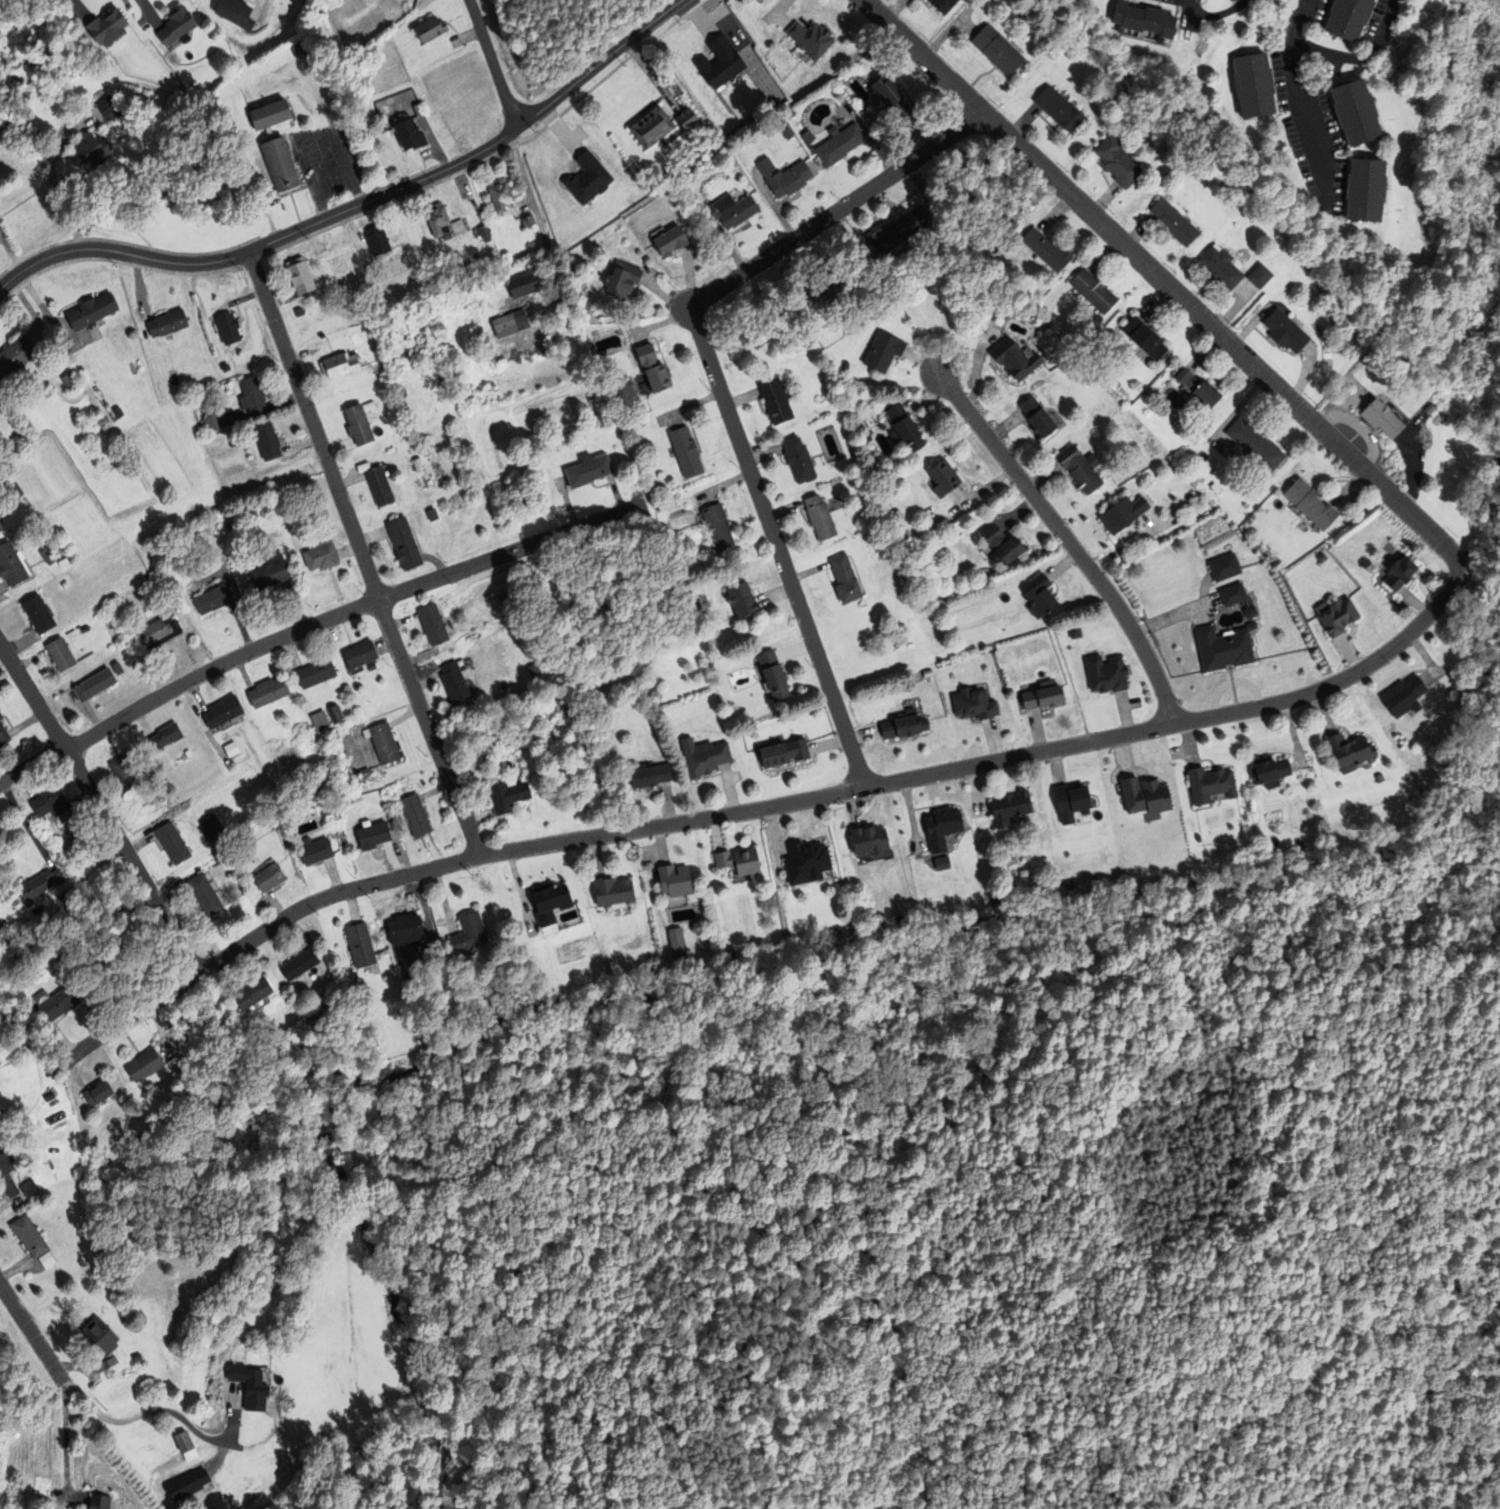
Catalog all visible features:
building: (943, 5)
building: (234, 12)
building: (1347, 18)
building: (1143, 20)
building: (106, 26)
building: (176, 26)
building: (429, 28)
building: (810, 40)
building: (997, 51)
road: (1358, 59)
road: (599, 62)
road: (494, 63)
building: (719, 64)
building: (1252, 85)
road: (1293, 91)
building: (890, 98)
building: (110, 110)
building: (416, 110)
building: (1059, 110)
building: (1354, 112)
building: (267, 114)
building: (686, 119)
building: (651, 128)
building: (409, 134)
building: (807, 138)
building: (839, 145)
building: (91, 148)
building: (1117, 161)
building: (277, 164)
parking lot: (325, 164)
building: (784, 178)
building: (587, 179)
building: (1363, 188)
road: (388, 195)
building: (500, 196)
road: (534, 207)
road: (836, 209)
building: (731, 211)
building: (437, 221)
building: (1174, 223)
building: (458, 227)
building: (482, 232)
building: (896, 232)
building: (377, 240)
building: (669, 242)
building: (1047, 251)
road: (120, 253)
building: (1220, 268)
building: (368, 271)
building: (831, 276)
building: (299, 277)
building: (1260, 277)
building: (622, 281)
road: (1159, 281)
building: (525, 284)
building: (1093, 292)
building: (90, 311)
building: (298, 313)
building: (166, 323)
building: (510, 325)
building: (227, 328)
building: (1285, 332)
building: (321, 337)
building: (1146, 339)
building: (883, 353)
building: (14, 356)
building: (1014, 360)
building: (338, 366)
building: (225, 368)
building: (652, 370)
building: (69, 381)
building: (1197, 389)
building: (98, 392)
building: (401, 393)
building: (251, 395)
building: (199, 398)
building: (775, 402)
building: (1430, 410)
building: (117, 412)
building: (1037, 418)
building: (1382, 420)
building: (211, 423)
building: (358, 423)
road: (1360, 428)
building: (903, 429)
building: (266, 440)
building: (231, 442)
building: (1255, 445)
building: (425, 452)
building: (686, 453)
building: (798, 461)
building: (418, 466)
building: (1080, 469)
building: (588, 472)
road: (1414, 472)
building: (943, 479)
building: (14, 486)
building: (379, 487)
building: (1311, 505)
building: (431, 515)
building: (1123, 515)
building: (819, 518)
building: (230, 525)
building: (0, 529)
building: (717, 529)
road: (1491, 536)
road: (1068, 542)
building: (403, 545)
building: (1001, 546)
building: (158, 548)
road: (777, 548)
road: (1470, 551)
building: (320, 552)
road: (360, 555)
building: (46, 556)
building: (62, 563)
building: (12, 565)
building: (166, 565)
building: (1224, 568)
building: (269, 570)
building: (1400, 575)
building: (844, 580)
building: (64, 585)
building: (1233, 596)
building: (213, 597)
building: (1040, 598)
building: (742, 601)
building: (1251, 614)
building: (37, 615)
building: (1340, 617)
road: (310, 625)
building: (432, 626)
building: (84, 629)
building: (158, 631)
building: (1075, 633)
building: (1225, 649)
building: (359, 652)
building: (59, 654)
building: (116, 667)
building: (315, 672)
building: (1106, 675)
building: (773, 677)
building: (93, 683)
building: (453, 683)
building: (267, 690)
building: (1043, 697)
building: (1404, 698)
building: (974, 705)
building: (221, 710)
building: (334, 713)
building: (0, 718)
building: (320, 718)
building: (904, 728)
building: (164, 736)
building: (3, 737)
building: (382, 741)
building: (230, 748)
building: (187, 753)
building: (1350, 753)
building: (783, 754)
building: (704, 758)
building: (123, 772)
building: (364, 772)
building: (1270, 772)
building: (649, 777)
building: (1379, 780)
building: (316, 782)
building: (1210, 786)
road: (847, 791)
building: (506, 797)
building: (1145, 797)
building: (50, 802)
building: (1070, 804)
road: (102, 805)
building: (1010, 809)
building: (415, 818)
building: (216, 827)
building: (942, 829)
building: (373, 837)
building: (171, 842)
building: (868, 842)
building: (313, 849)
building: (738, 862)
building: (75, 863)
building: (806, 864)
building: (942, 865)
building: (268, 876)
building: (674, 882)
building: (37, 885)
building: (67, 892)
building: (612, 893)
building: (203, 894)
building: (549, 906)
building: (405, 932)
building: (467, 935)
building: (675, 945)
building: (359, 947)
building: (299, 966)
building: (252, 995)
building: (55, 1005)
building: (310, 1010)
road: (130, 1019)
building: (410, 1025)
building: (144, 1067)
building: (96, 1096)
building: (10, 1170)
building: (33, 1187)
building: (33, 1235)
building: (50, 1258)
road: (30, 1334)
building: (104, 1335)
building: (139, 1357)
building: (256, 1385)
road: (150, 1415)
road: (63, 1439)
building: (181, 1444)
building: (101, 1501)

